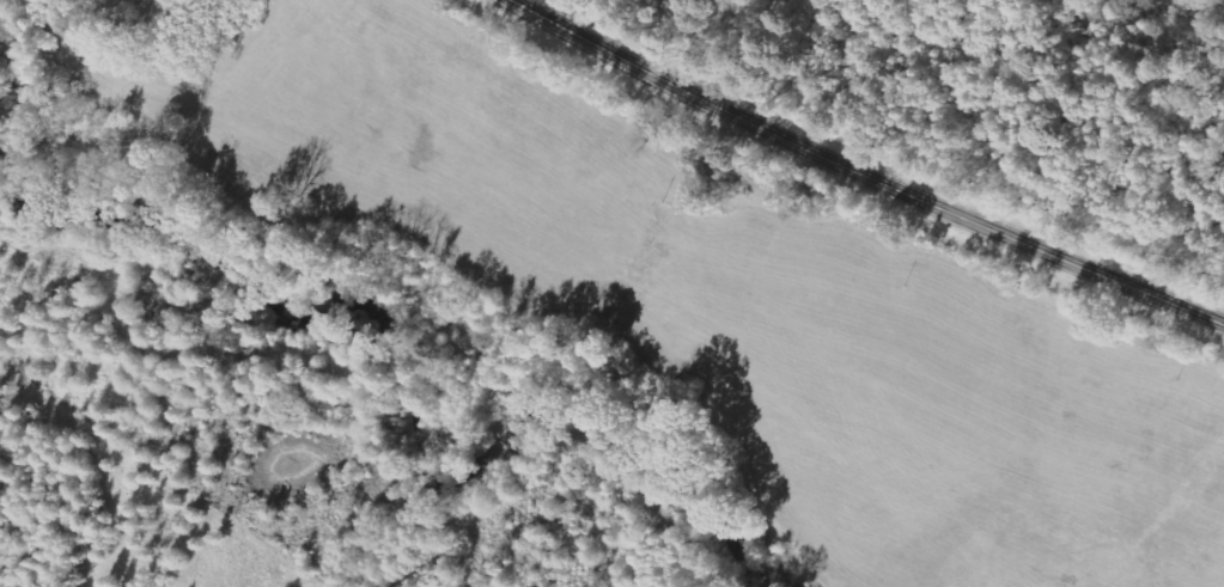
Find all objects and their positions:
road: (866, 176)

